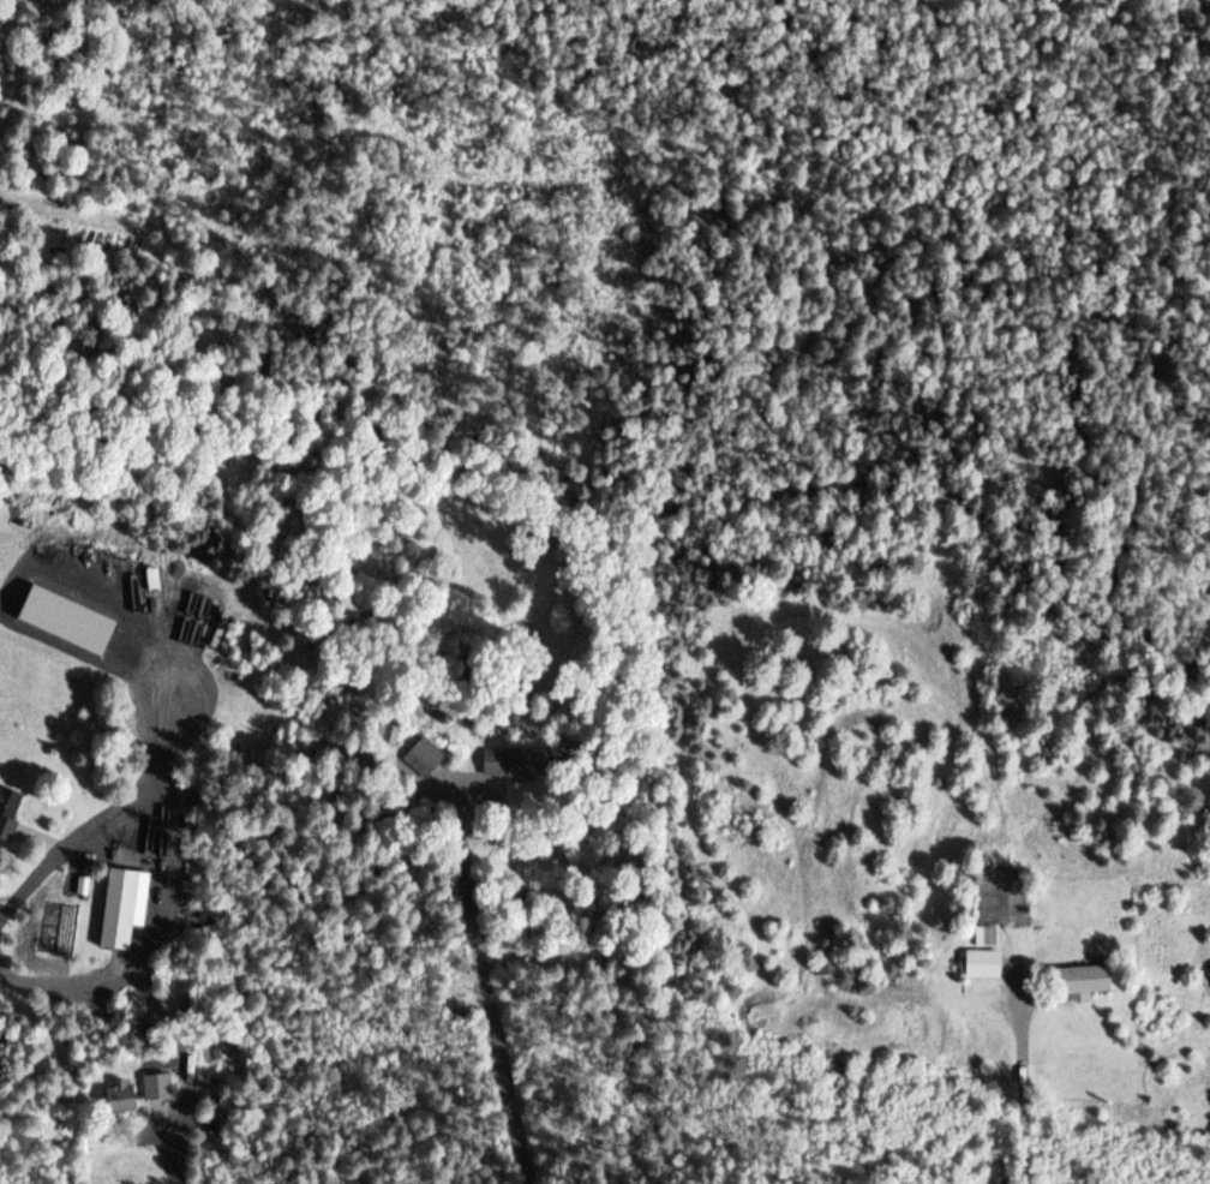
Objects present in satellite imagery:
building: (425, 759)
building: (10, 812)
building: (122, 910)
building: (986, 965)
building: (1083, 980)
building: (138, 1093)

